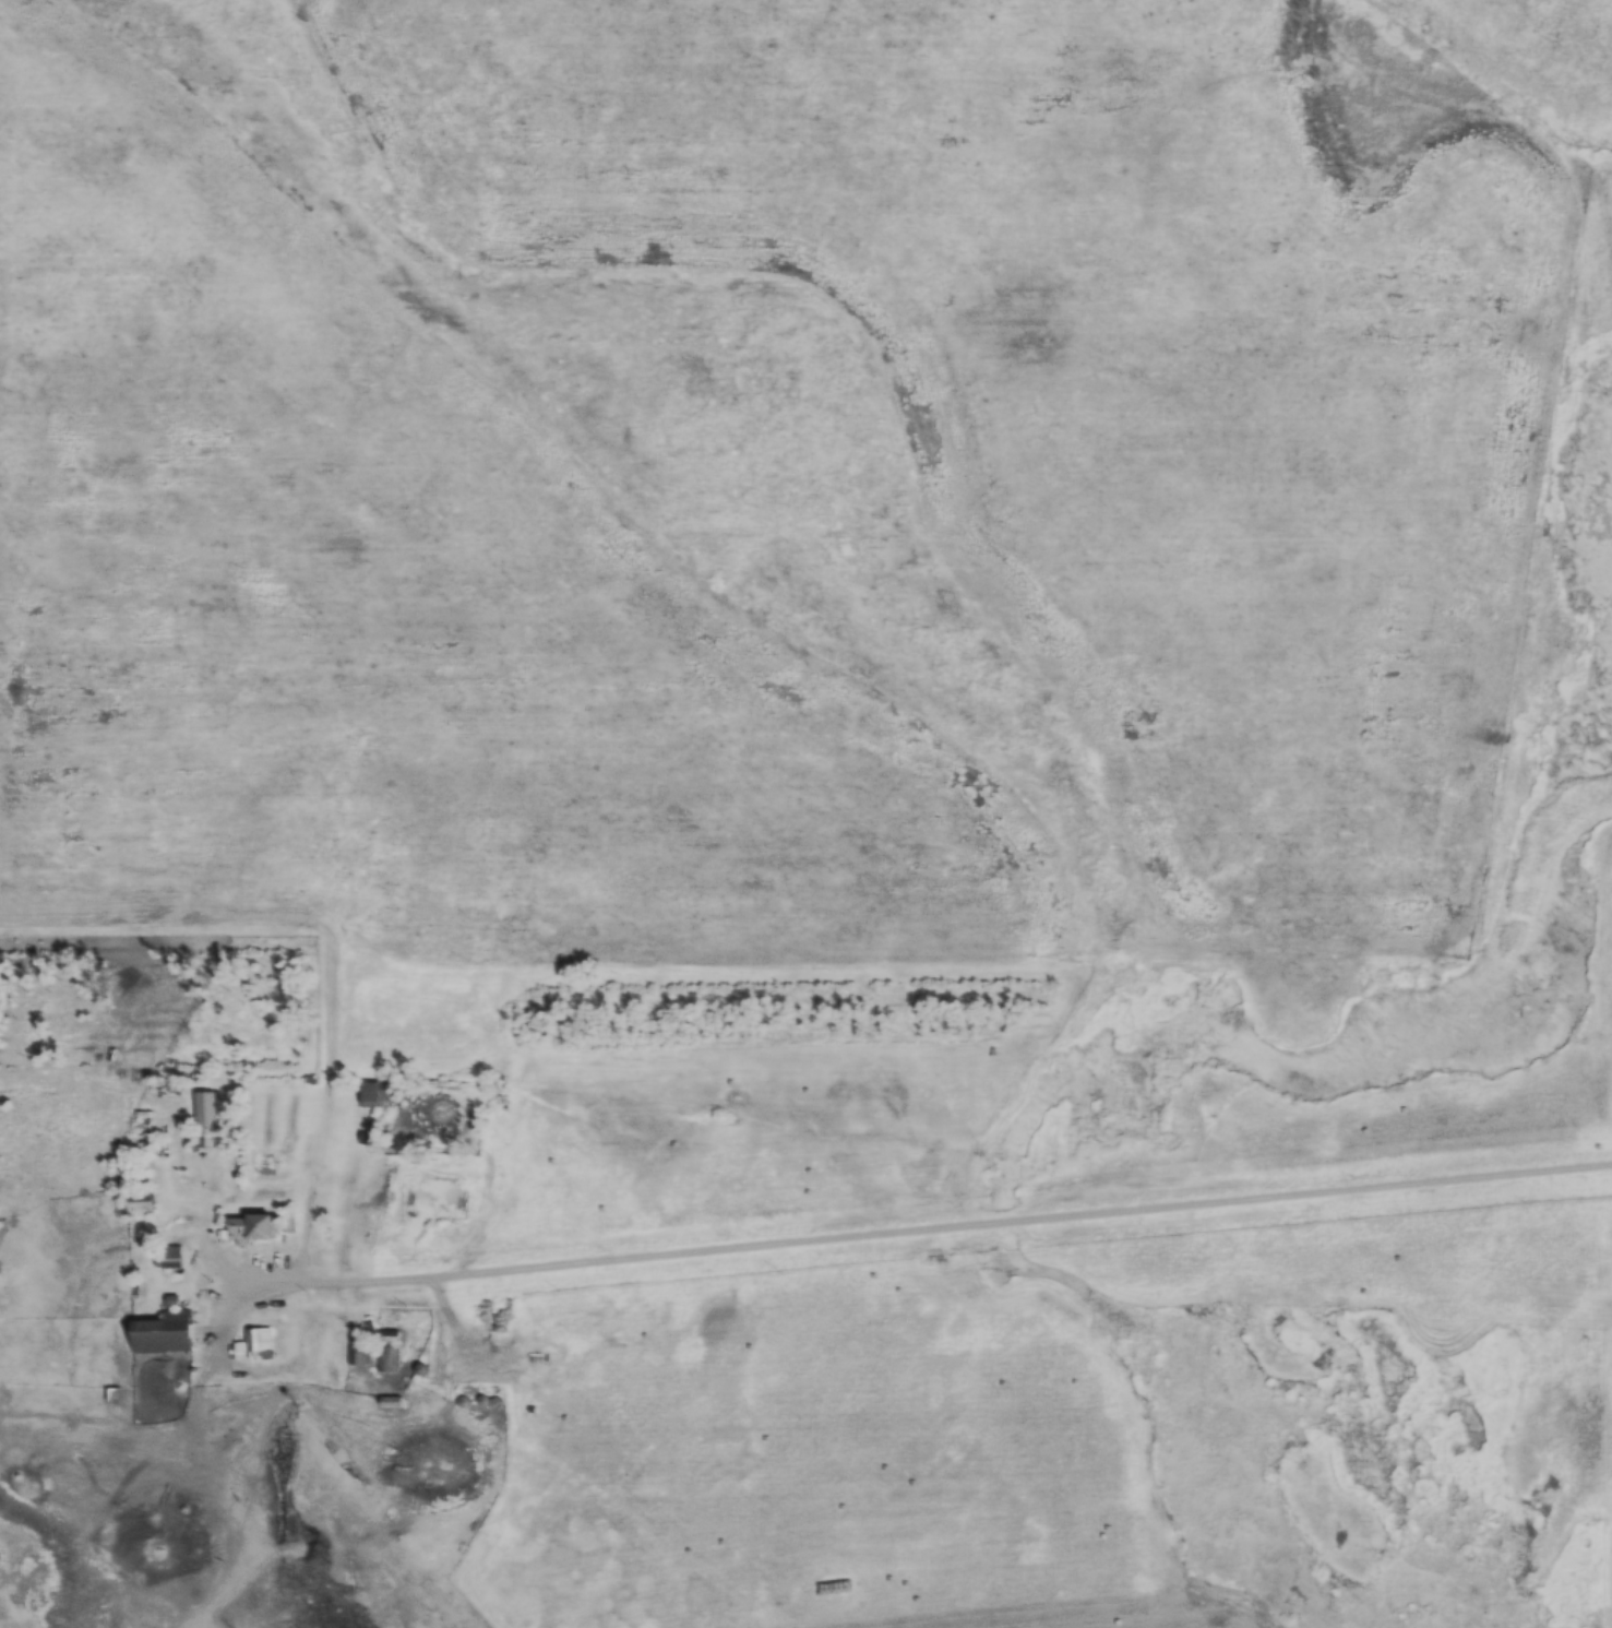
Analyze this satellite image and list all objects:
building: (373, 1093)
building: (203, 1137)
building: (136, 1162)
building: (136, 1197)
road: (993, 1204)
building: (248, 1227)
building: (169, 1257)
building: (535, 1331)
building: (159, 1333)
building: (259, 1343)
building: (386, 1351)
building: (358, 1354)

